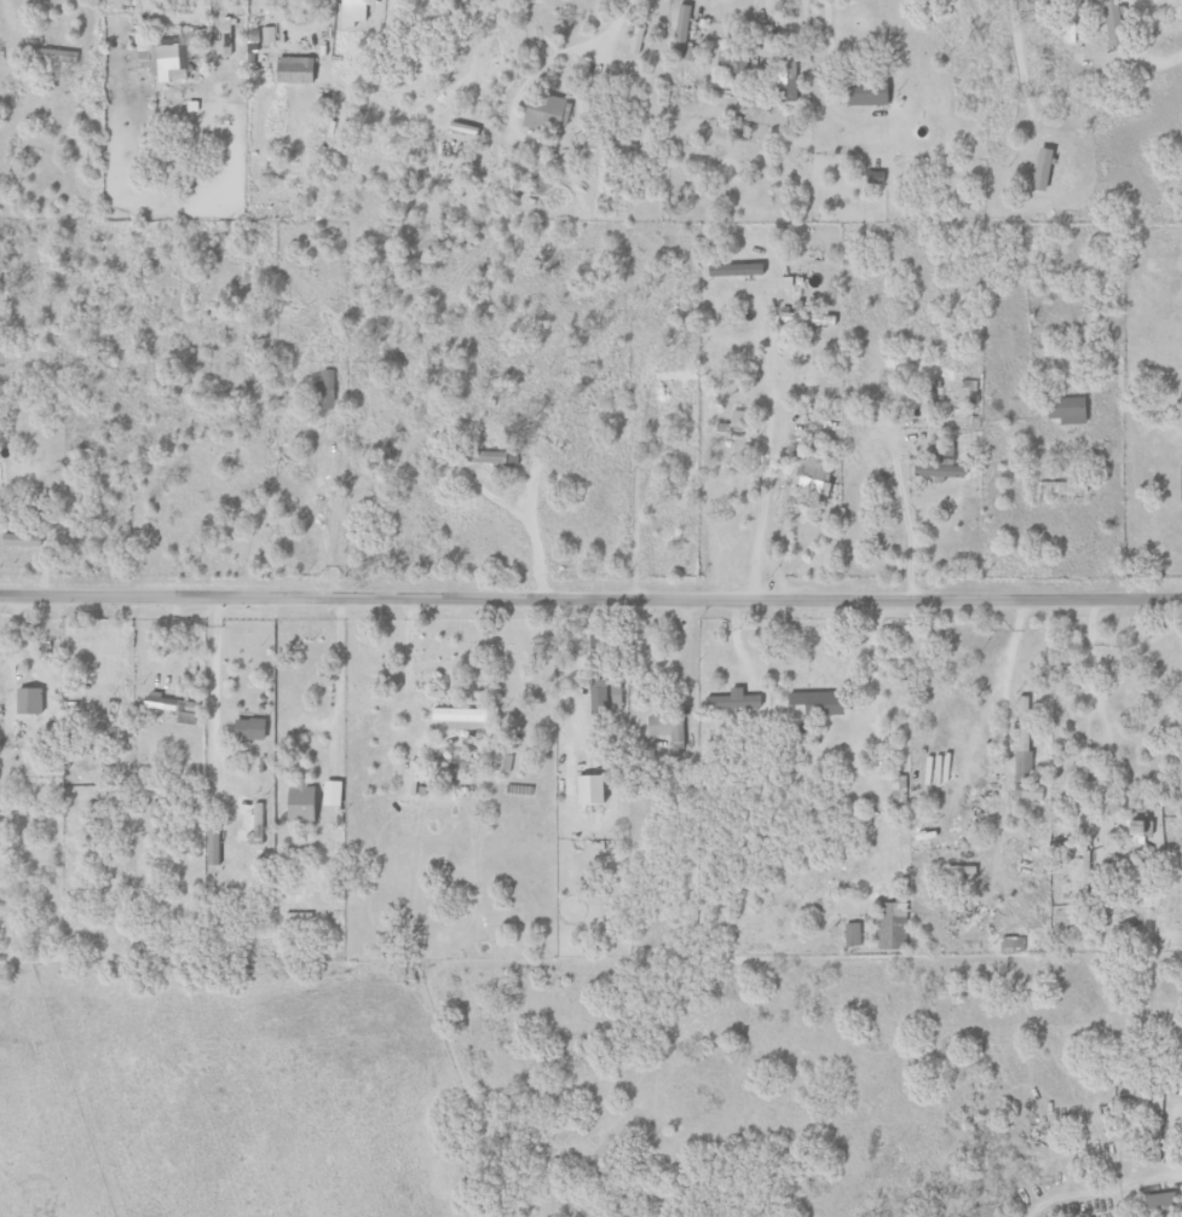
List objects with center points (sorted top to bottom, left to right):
building: (351, 12)
building: (1112, 22)
road: (825, 27)
building: (680, 30)
building: (765, 31)
building: (269, 34)
road: (1142, 50)
road: (563, 52)
building: (171, 53)
building: (53, 54)
road: (1019, 65)
building: (293, 69)
building: (784, 77)
building: (865, 93)
building: (541, 111)
building: (1040, 168)
building: (808, 319)
building: (967, 385)
building: (324, 390)
building: (1066, 410)
building: (490, 456)
road: (765, 457)
building: (938, 465)
building: (809, 471)
building: (1181, 479)
road: (531, 495)
road: (501, 502)
road: (321, 509)
road: (636, 512)
road: (909, 529)
building: (16, 538)
road: (590, 596)
road: (641, 658)
road: (213, 667)
road: (1008, 667)
building: (596, 694)
building: (615, 696)
building: (27, 700)
building: (732, 700)
building: (815, 702)
building: (172, 706)
building: (461, 717)
building: (667, 727)
building: (248, 728)
building: (1024, 752)
building: (502, 761)
building: (413, 777)
building: (587, 789)
building: (898, 789)
building: (329, 792)
building: (298, 801)
building: (1136, 831)
building: (211, 844)
building: (889, 925)
building: (852, 934)
road: (1108, 1188)
building: (1158, 1202)

